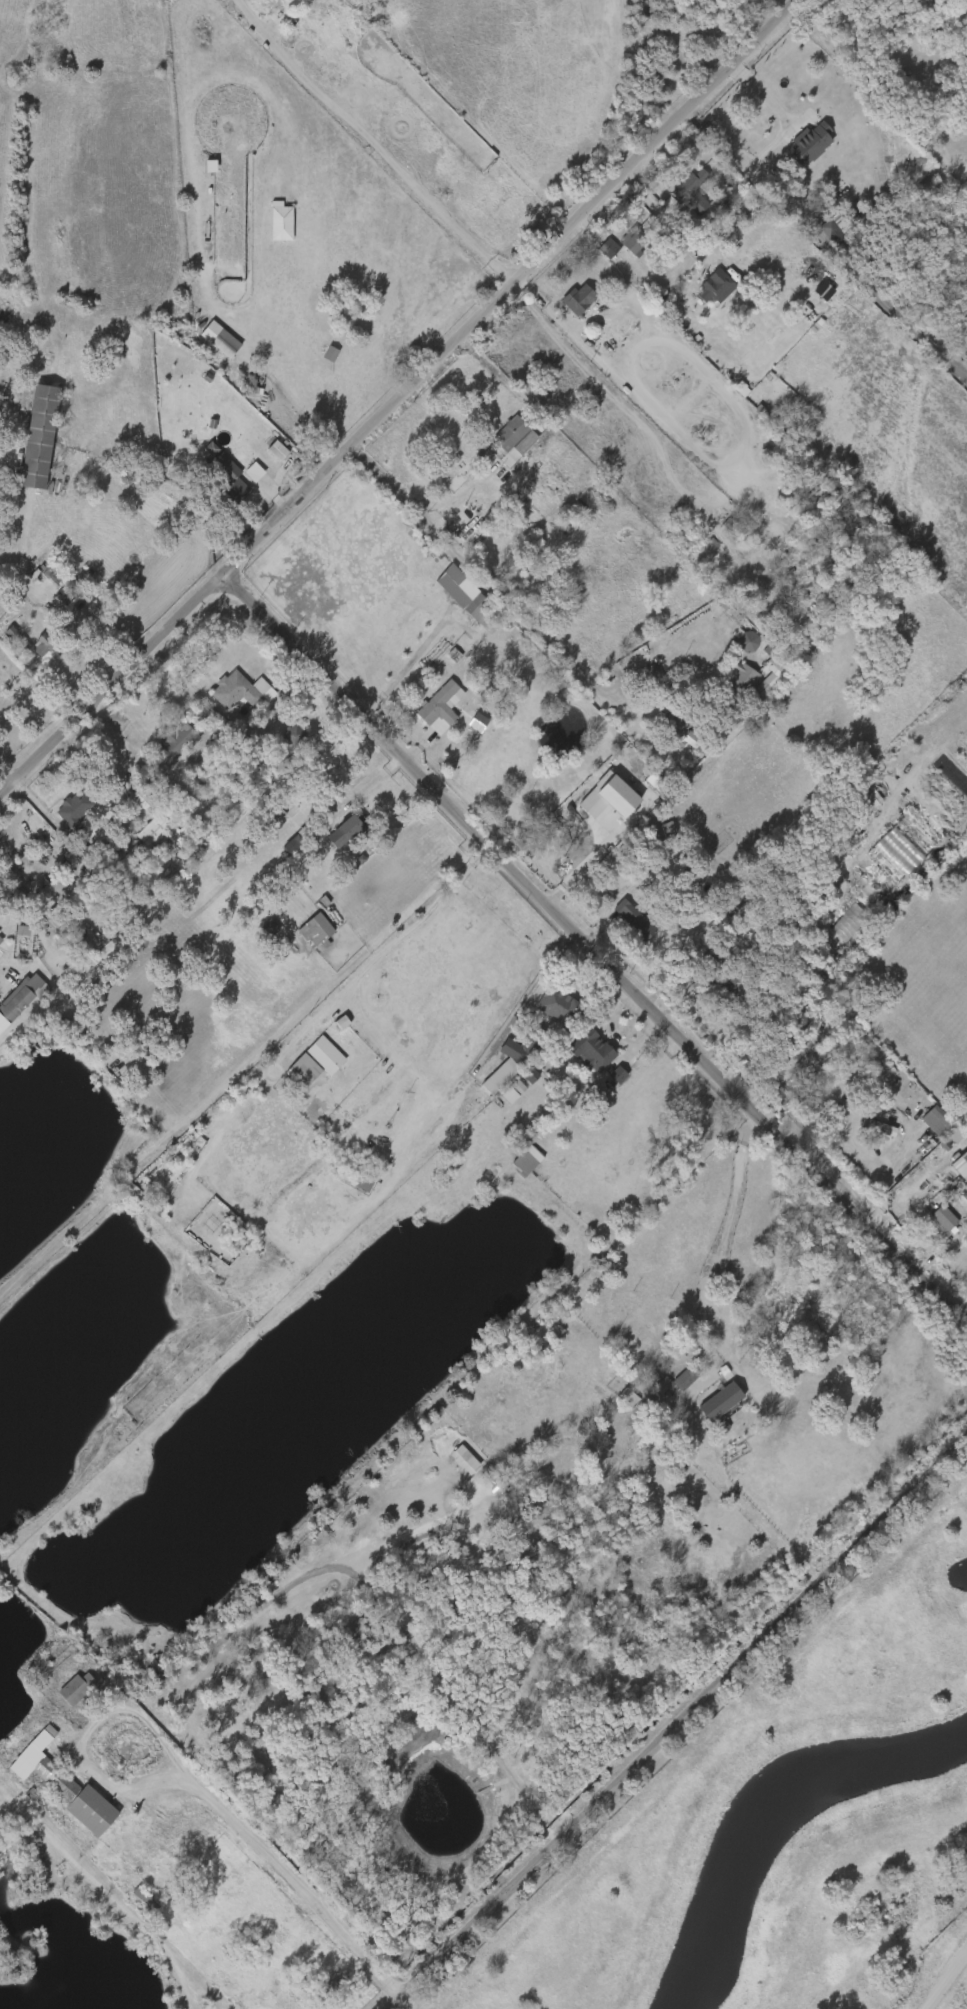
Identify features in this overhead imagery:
building: (883, 13)
building: (965, 31)
road: (767, 98)
building: (809, 142)
road: (374, 145)
building: (691, 192)
road: (668, 217)
building: (269, 227)
building: (820, 236)
building: (631, 240)
building: (622, 244)
building: (596, 252)
building: (716, 289)
road: (512, 291)
building: (573, 304)
building: (208, 343)
building: (228, 346)
building: (318, 357)
building: (42, 437)
building: (28, 440)
building: (513, 440)
building: (265, 454)
building: (242, 475)
building: (213, 476)
building: (454, 476)
building: (228, 479)
building: (467, 520)
road: (339, 522)
building: (707, 537)
road: (481, 569)
building: (451, 577)
building: (40, 579)
building: (436, 585)
building: (465, 612)
building: (19, 639)
building: (748, 641)
building: (735, 645)
building: (778, 665)
building: (741, 680)
road: (106, 686)
building: (238, 691)
road: (640, 707)
building: (441, 708)
building: (678, 720)
building: (297, 733)
building: (282, 738)
building: (680, 742)
building: (175, 745)
building: (609, 781)
road: (361, 790)
building: (596, 800)
building: (75, 808)
building: (176, 809)
building: (264, 819)
building: (153, 831)
building: (348, 832)
building: (141, 834)
building: (335, 834)
building: (75, 847)
building: (876, 865)
building: (634, 921)
building: (621, 922)
building: (318, 930)
building: (259, 931)
building: (304, 935)
building: (0, 939)
road: (588, 956)
building: (729, 987)
building: (22, 998)
building: (559, 1003)
building: (591, 1049)
building: (519, 1051)
building: (327, 1052)
building: (313, 1058)
building: (765, 1068)
building: (294, 1071)
building: (518, 1078)
building: (605, 1078)
building: (785, 1097)
building: (938, 1121)
building: (924, 1124)
building: (880, 1127)
building: (866, 1130)
building: (943, 1137)
building: (949, 1139)
building: (525, 1157)
building: (953, 1167)
building: (965, 1183)
building: (946, 1218)
building: (931, 1221)
road: (710, 1369)
building: (663, 1386)
building: (616, 1400)
building: (708, 1404)
road: (614, 1595)
building: (80, 1688)
building: (64, 1691)
road: (672, 1717)
road: (184, 1781)
building: (67, 1785)
building: (52, 1787)
wastewater plant: (797, 1841)
building: (133, 1902)
road: (952, 1986)

